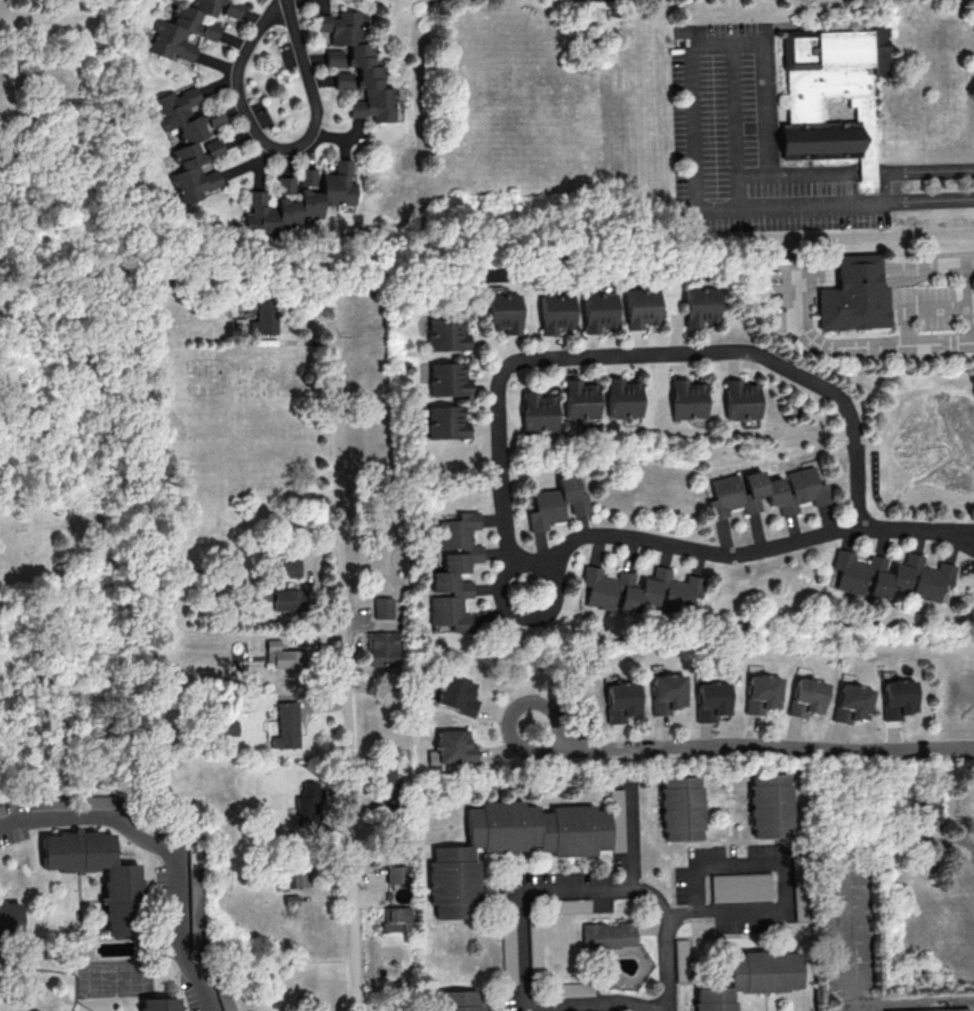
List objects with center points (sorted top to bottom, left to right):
building: (189, 26)
building: (681, 30)
road: (695, 48)
building: (332, 57)
building: (357, 67)
building: (830, 95)
road: (769, 107)
building: (188, 142)
road: (278, 147)
building: (298, 198)
road: (862, 199)
road: (928, 199)
road: (933, 266)
building: (852, 297)
road: (916, 303)
building: (699, 305)
building: (640, 307)
building: (597, 311)
building: (503, 312)
building: (554, 312)
building: (263, 316)
building: (239, 324)
building: (445, 333)
road: (971, 340)
road: (892, 344)
building: (447, 379)
building: (622, 398)
building: (580, 399)
building: (687, 399)
building: (740, 400)
building: (537, 411)
building: (446, 422)
road: (500, 462)
building: (765, 492)
building: (556, 503)
road: (897, 530)
road: (955, 531)
road: (955, 539)
building: (454, 571)
building: (891, 575)
building: (640, 591)
road: (527, 592)
building: (382, 607)
building: (382, 648)
building: (284, 656)
road: (346, 676)
building: (667, 692)
building: (761, 692)
building: (455, 694)
building: (806, 696)
building: (898, 698)
building: (711, 700)
building: (621, 701)
building: (851, 703)
building: (286, 725)
building: (230, 727)
road: (505, 730)
road: (761, 746)
building: (451, 748)
building: (387, 779)
building: (308, 798)
building: (769, 805)
building: (680, 808)
building: (929, 812)
road: (634, 837)
road: (967, 843)
building: (517, 844)
road: (165, 852)
road: (715, 865)
building: (396, 874)
building: (298, 877)
building: (740, 886)
building: (120, 887)
building: (196, 897)
building: (570, 905)
road: (753, 914)
building: (397, 919)
building: (9, 920)
road: (523, 922)
building: (607, 935)
building: (535, 946)
building: (507, 949)
building: (684, 961)
road: (668, 965)
building: (751, 977)
park: (113, 980)
building: (458, 1000)
building: (159, 1004)
building: (947, 1010)

